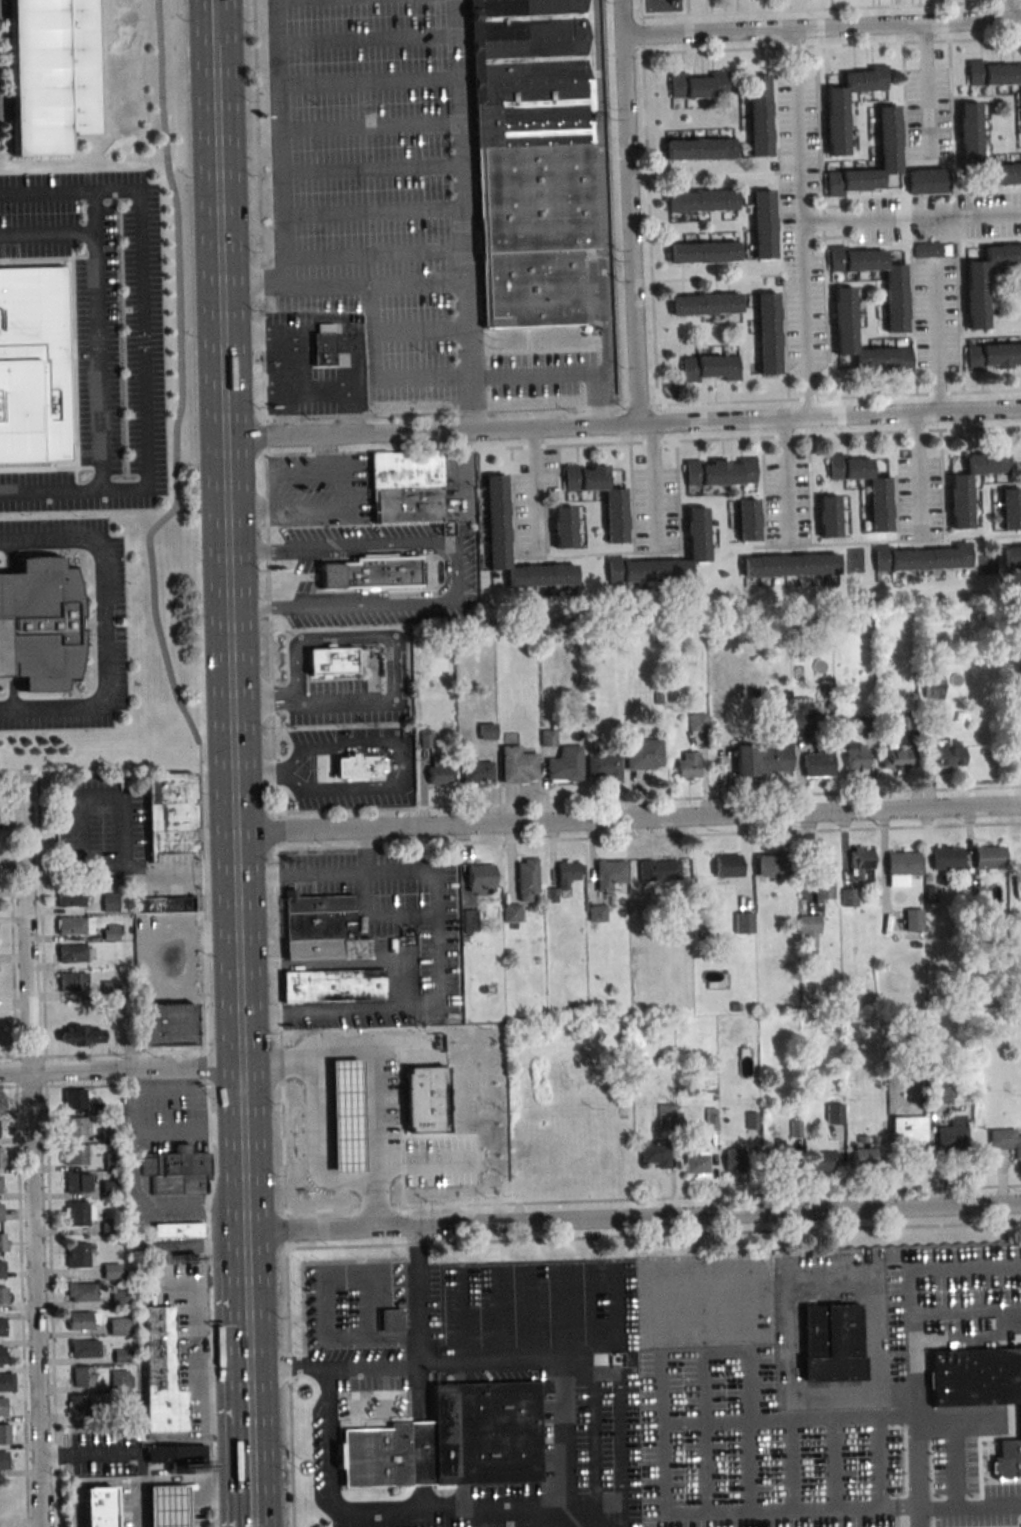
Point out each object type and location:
road: (986, 1)
road: (333, 2)
road: (831, 4)
road: (685, 7)
road: (831, 9)
road: (1011, 10)
road: (623, 18)
road: (1016, 20)
road: (968, 22)
road: (861, 27)
road: (710, 33)
road: (973, 39)
road: (376, 44)
road: (784, 46)
building: (532, 72)
building: (994, 72)
building: (53, 74)
building: (698, 85)
road: (378, 87)
road: (928, 94)
road: (1014, 94)
building: (759, 115)
road: (952, 116)
road: (904, 118)
building: (835, 123)
road: (800, 126)
building: (968, 131)
road: (379, 132)
building: (887, 137)
road: (295, 140)
building: (699, 148)
building: (1002, 172)
road: (381, 174)
road: (713, 175)
building: (926, 180)
road: (910, 194)
building: (536, 196)
building: (701, 200)
road: (649, 202)
road: (611, 203)
road: (602, 213)
road: (94, 215)
road: (466, 215)
road: (912, 217)
road: (382, 218)
road: (217, 220)
road: (824, 221)
building: (762, 223)
road: (780, 223)
road: (630, 230)
road: (921, 240)
building: (927, 249)
building: (703, 251)
road: (383, 252)
road: (717, 277)
road: (343, 278)
building: (985, 279)
building: (539, 288)
road: (141, 293)
building: (894, 301)
building: (705, 303)
road: (96, 315)
road: (960, 315)
building: (843, 317)
road: (913, 317)
road: (806, 321)
road: (419, 329)
building: (767, 333)
road: (991, 336)
road: (936, 338)
building: (323, 348)
building: (993, 356)
road: (284, 357)
building: (33, 364)
building: (710, 367)
road: (375, 373)
road: (540, 377)
road: (342, 390)
road: (254, 392)
road: (839, 396)
road: (461, 411)
road: (980, 413)
road: (927, 414)
road: (862, 418)
road: (797, 421)
road: (720, 423)
road: (646, 425)
road: (585, 426)
road: (378, 435)
road: (643, 441)
building: (407, 469)
road: (460, 470)
building: (719, 471)
road: (282, 473)
road: (919, 473)
road: (787, 481)
road: (536, 485)
road: (50, 487)
road: (656, 487)
building: (959, 501)
building: (408, 505)
building: (878, 505)
building: (1011, 508)
road: (331, 510)
building: (615, 516)
building: (828, 516)
building: (496, 519)
building: (746, 519)
building: (562, 527)
road: (151, 531)
building: (696, 531)
road: (982, 536)
road: (855, 542)
road: (920, 542)
road: (789, 548)
road: (656, 554)
road: (591, 555)
building: (1012, 555)
road: (541, 558)
building: (922, 558)
building: (789, 564)
building: (372, 573)
road: (455, 573)
road: (103, 622)
building: (39, 624)
road: (228, 637)
building: (730, 642)
road: (393, 646)
building: (800, 651)
building: (332, 661)
building: (932, 684)
road: (263, 699)
building: (802, 715)
building: (698, 721)
building: (911, 723)
building: (863, 724)
building: (487, 731)
building: (548, 737)
building: (425, 738)
building: (1016, 753)
building: (643, 754)
building: (949, 756)
building: (855, 757)
building: (763, 758)
building: (894, 758)
building: (820, 759)
road: (272, 763)
road: (406, 763)
building: (518, 764)
building: (565, 764)
building: (688, 765)
building: (357, 767)
building: (603, 767)
building: (438, 771)
building: (477, 772)
road: (256, 773)
road: (647, 799)
road: (101, 800)
building: (171, 812)
road: (627, 822)
road: (83, 832)
road: (648, 837)
building: (989, 857)
building: (945, 858)
road: (103, 862)
building: (860, 863)
building: (727, 865)
building: (774, 865)
building: (901, 867)
building: (658, 869)
road: (300, 873)
building: (566, 873)
building: (608, 874)
road: (145, 875)
building: (823, 876)
building: (479, 878)
building: (527, 878)
building: (931, 894)
building: (550, 895)
building: (849, 896)
building: (70, 898)
building: (975, 898)
building: (110, 902)
building: (163, 904)
building: (512, 913)
building: (597, 913)
road: (379, 916)
building: (913, 919)
building: (469, 920)
building: (743, 922)
building: (75, 925)
road: (25, 928)
building: (323, 930)
building: (111, 932)
building: (809, 933)
road: (236, 951)
building: (72, 953)
road: (345, 963)
building: (173, 973)
building: (71, 980)
road: (436, 983)
building: (334, 985)
building: (110, 988)
building: (169, 1028)
building: (81, 1036)
road: (104, 1054)
road: (305, 1059)
road: (134, 1068)
road: (14, 1071)
road: (66, 1086)
building: (941, 1090)
road: (166, 1091)
building: (917, 1091)
building: (461, 1096)
building: (74, 1098)
building: (425, 1100)
building: (2, 1102)
building: (340, 1106)
building: (100, 1109)
building: (834, 1113)
building: (666, 1114)
building: (347, 1116)
building: (711, 1119)
building: (750, 1119)
building: (75, 1126)
building: (794, 1126)
building: (907, 1128)
road: (187, 1131)
building: (952, 1131)
building: (109, 1135)
road: (371, 1138)
building: (1005, 1140)
road: (320, 1144)
road: (242, 1150)
road: (18, 1152)
road: (48, 1152)
building: (655, 1153)
building: (76, 1154)
building: (780, 1154)
building: (862, 1156)
building: (2, 1159)
building: (732, 1159)
building: (113, 1160)
building: (823, 1160)
building: (696, 1161)
building: (177, 1170)
building: (76, 1182)
building: (1, 1184)
building: (111, 1188)
road: (136, 1192)
road: (652, 1198)
building: (116, 1203)
building: (1, 1211)
building: (79, 1214)
road: (632, 1221)
building: (110, 1230)
building: (177, 1230)
road: (653, 1235)
building: (3, 1242)
road: (196, 1247)
building: (78, 1255)
road: (245, 1268)
building: (2, 1269)
building: (111, 1271)
road: (947, 1273)
building: (123, 1274)
building: (81, 1292)
building: (4, 1295)
road: (206, 1296)
road: (422, 1297)
road: (35, 1298)
building: (120, 1299)
road: (966, 1310)
road: (597, 1314)
road: (567, 1315)
road: (515, 1316)
road: (542, 1316)
road: (461, 1317)
road: (490, 1317)
building: (83, 1320)
building: (391, 1321)
building: (118, 1326)
building: (5, 1327)
road: (199, 1343)
building: (832, 1343)
road: (247, 1345)
building: (84, 1348)
building: (2, 1355)
building: (121, 1356)
road: (629, 1362)
building: (161, 1372)
building: (83, 1376)
building: (977, 1377)
building: (121, 1380)
building: (7, 1382)
road: (724, 1385)
road: (832, 1399)
building: (2, 1406)
building: (85, 1406)
road: (918, 1414)
road: (200, 1419)
building: (483, 1431)
building: (6, 1433)
road: (980, 1437)
road: (122, 1453)
road: (594, 1453)
road: (630, 1454)
building: (386, 1455)
building: (179, 1456)
road: (250, 1456)
building: (4, 1460)
building: (1003, 1465)
road: (223, 1480)
road: (168, 1482)
road: (89, 1484)
road: (166, 1492)
road: (191, 1492)
road: (143, 1493)
road: (196, 1504)
road: (140, 1505)
road: (166, 1505)
road: (191, 1505)
road: (143, 1506)
building: (166, 1506)
building: (100, 1507)
building: (4, 1508)
road: (454, 1510)
road: (967, 1515)
road: (167, 1517)
road: (191, 1517)
road: (144, 1518)

